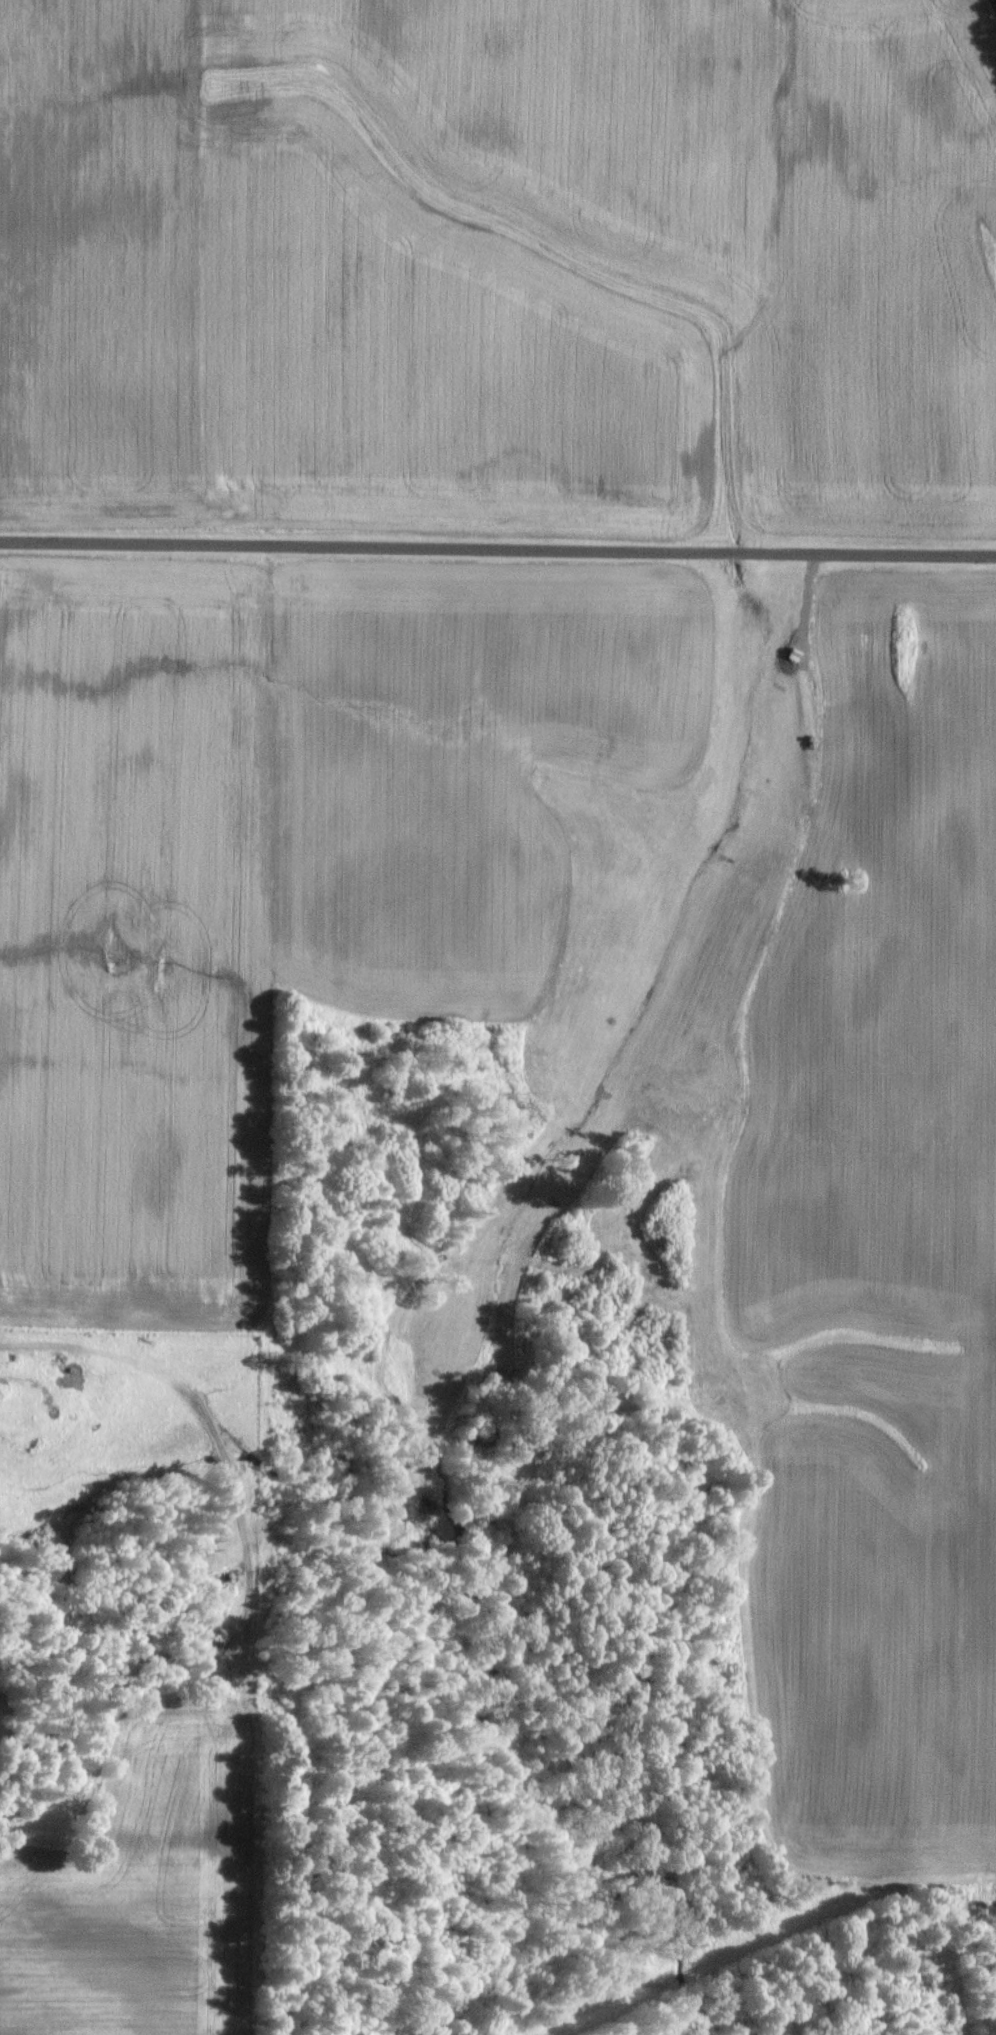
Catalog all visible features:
road: (498, 549)

